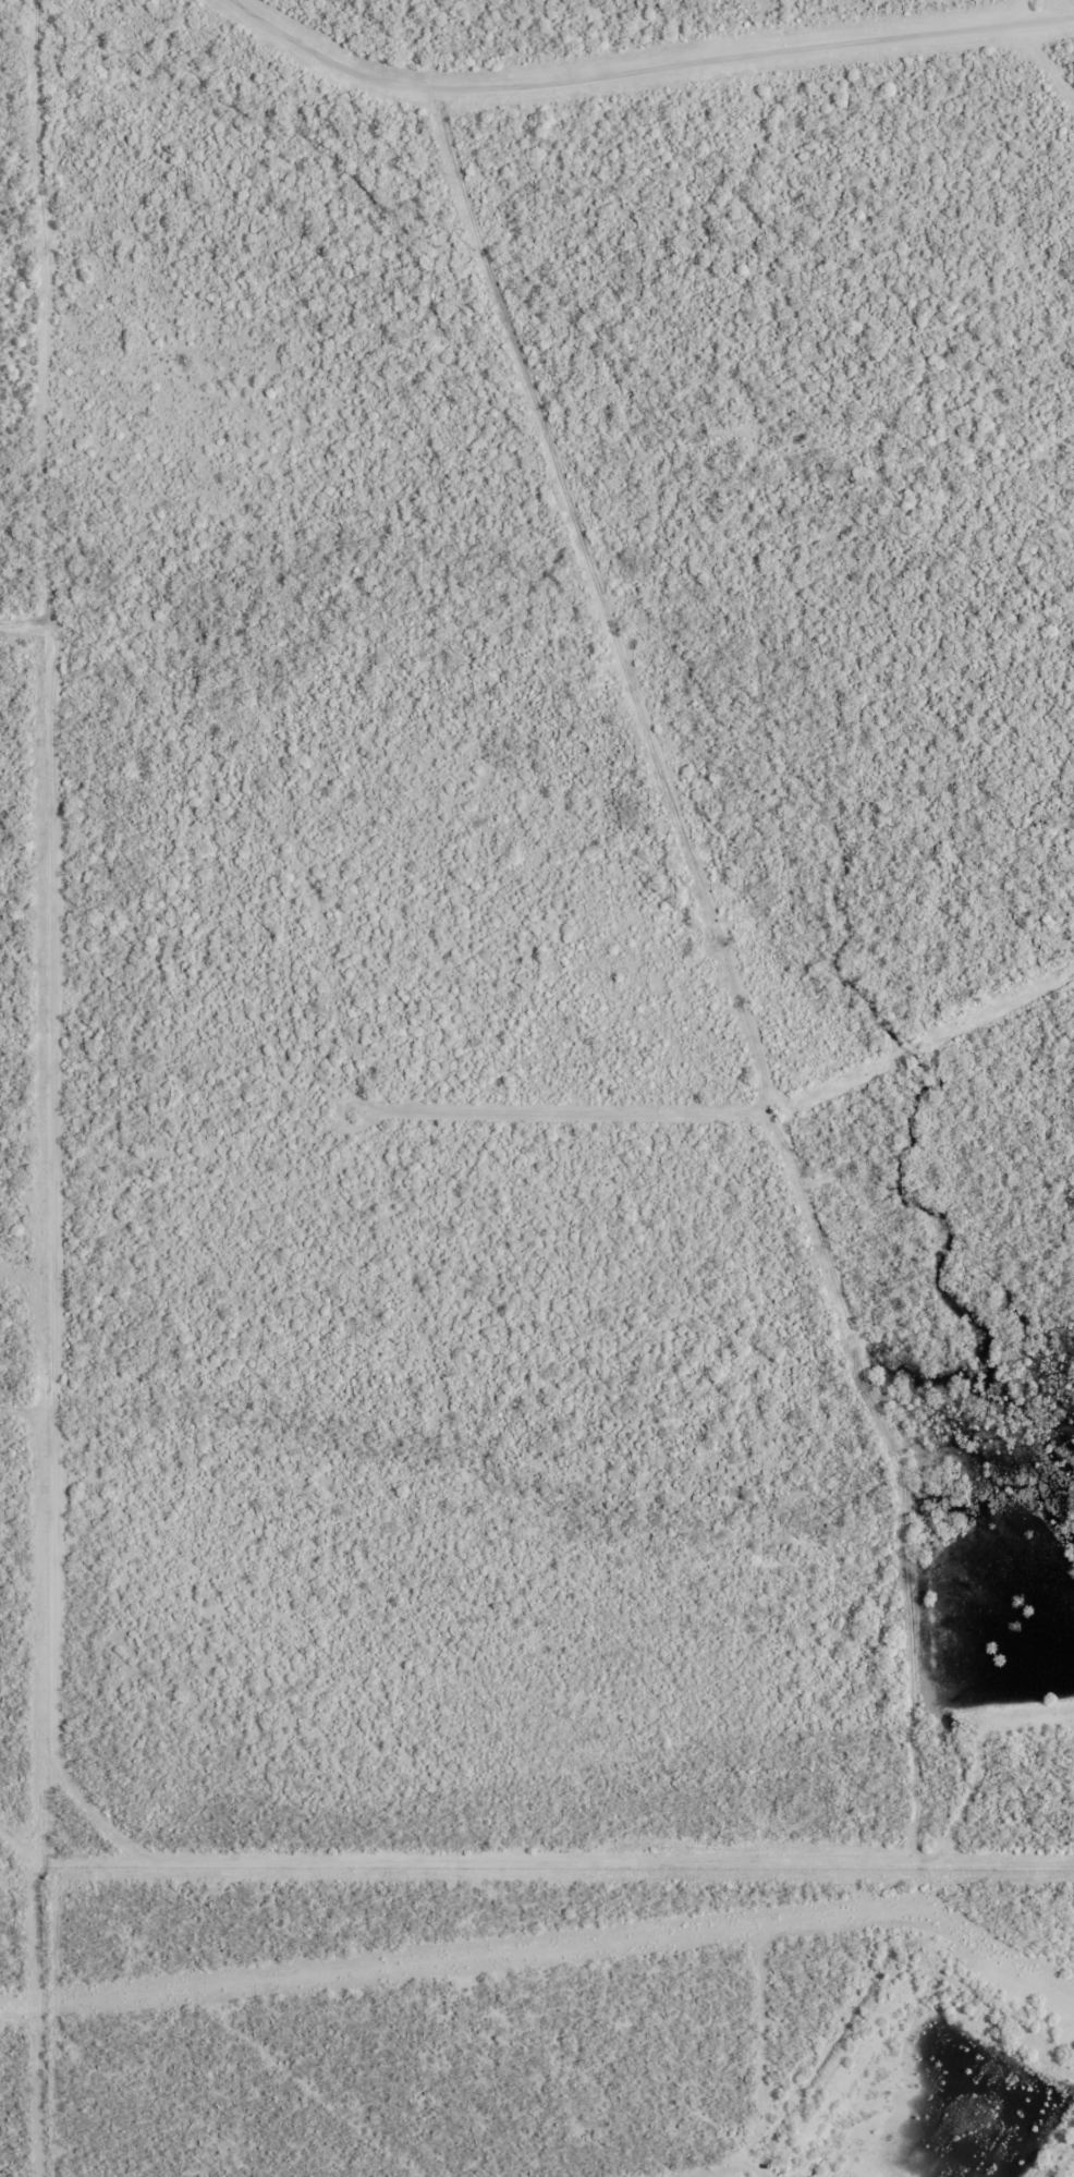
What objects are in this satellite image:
road: (646, 70)

